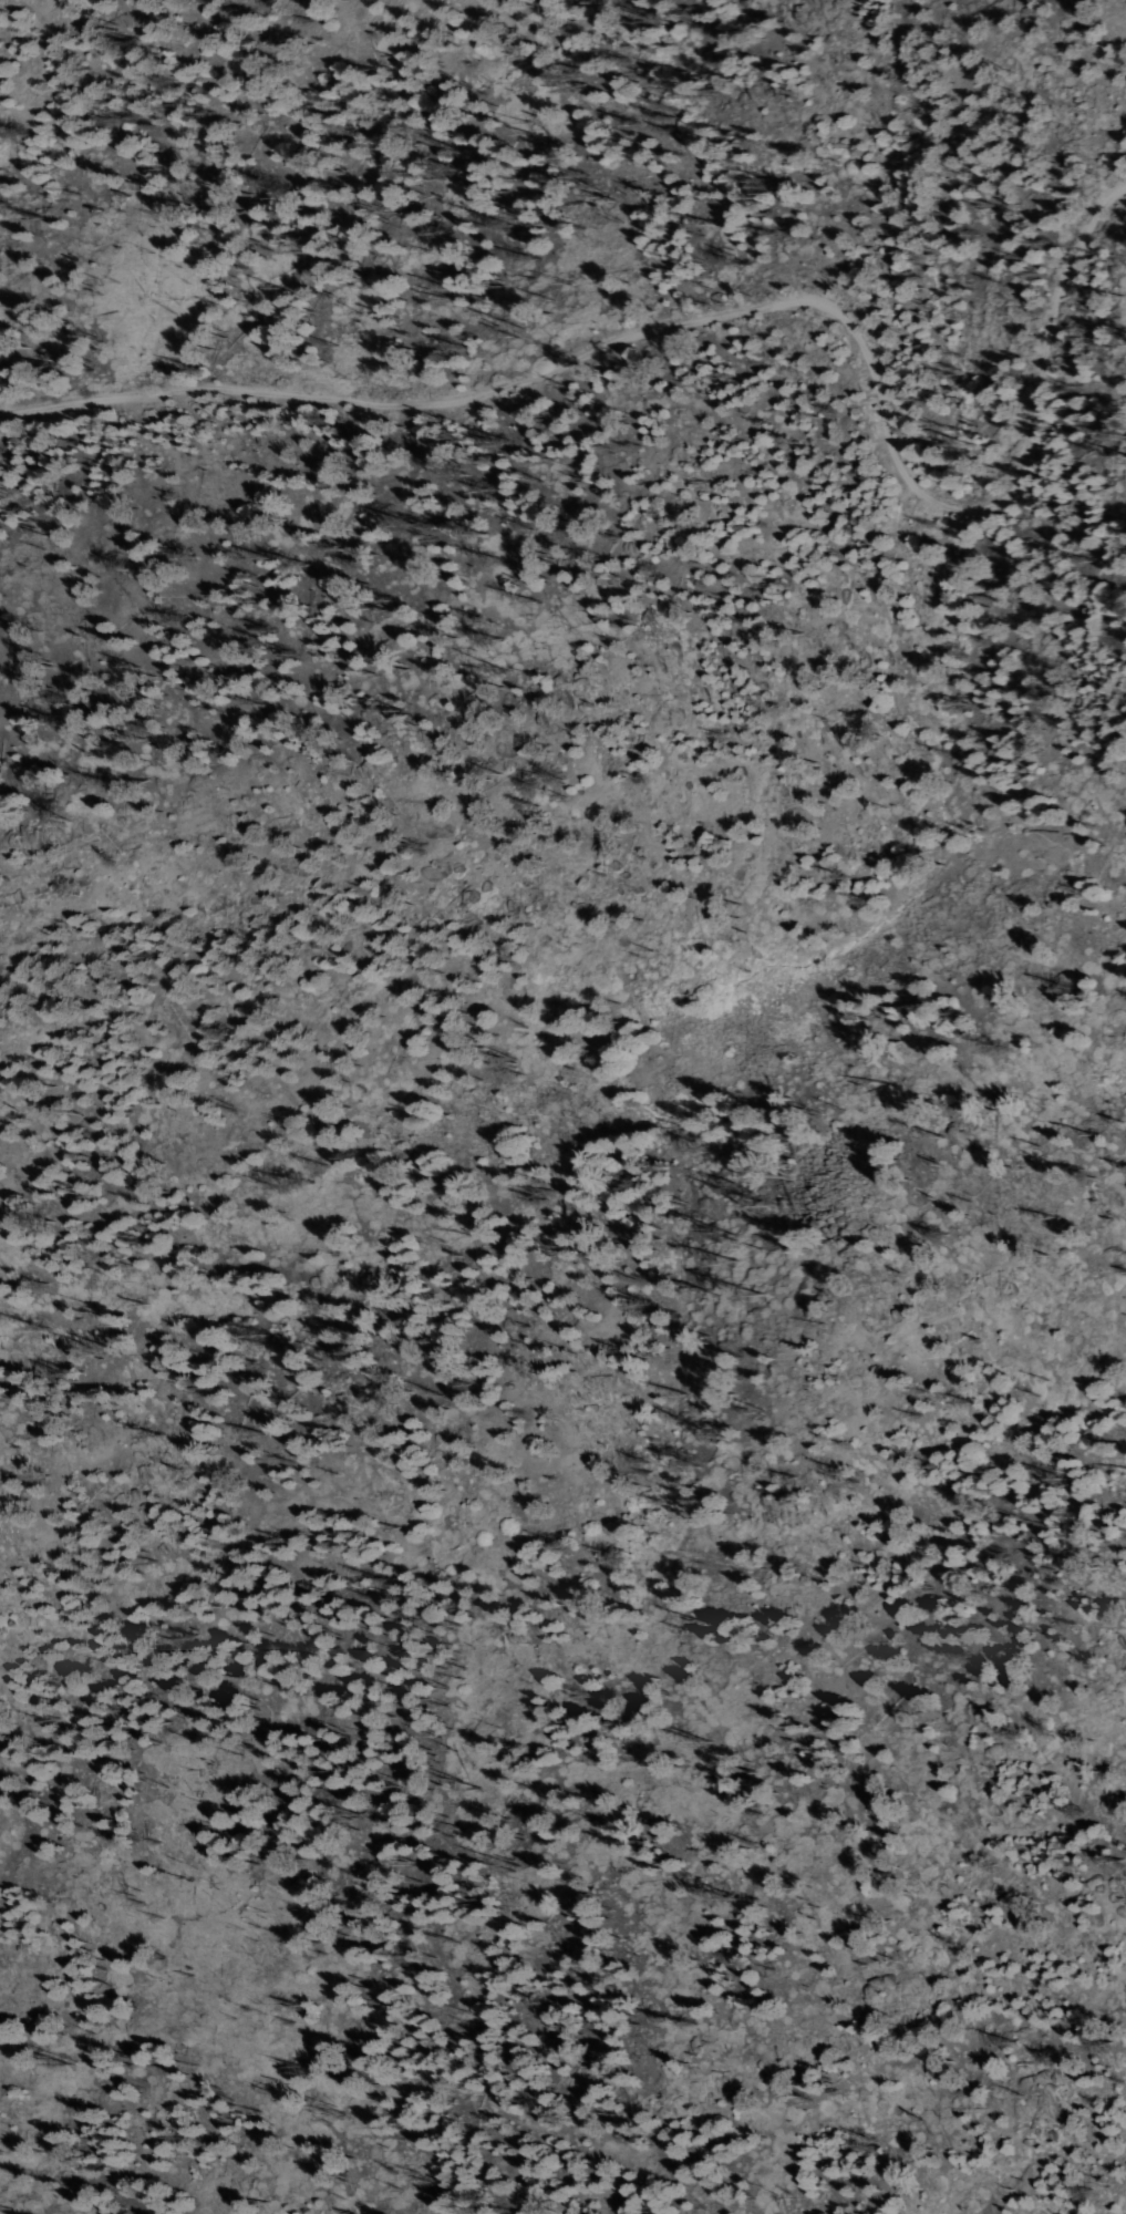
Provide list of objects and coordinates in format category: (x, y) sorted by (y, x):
road: (721, 318)

